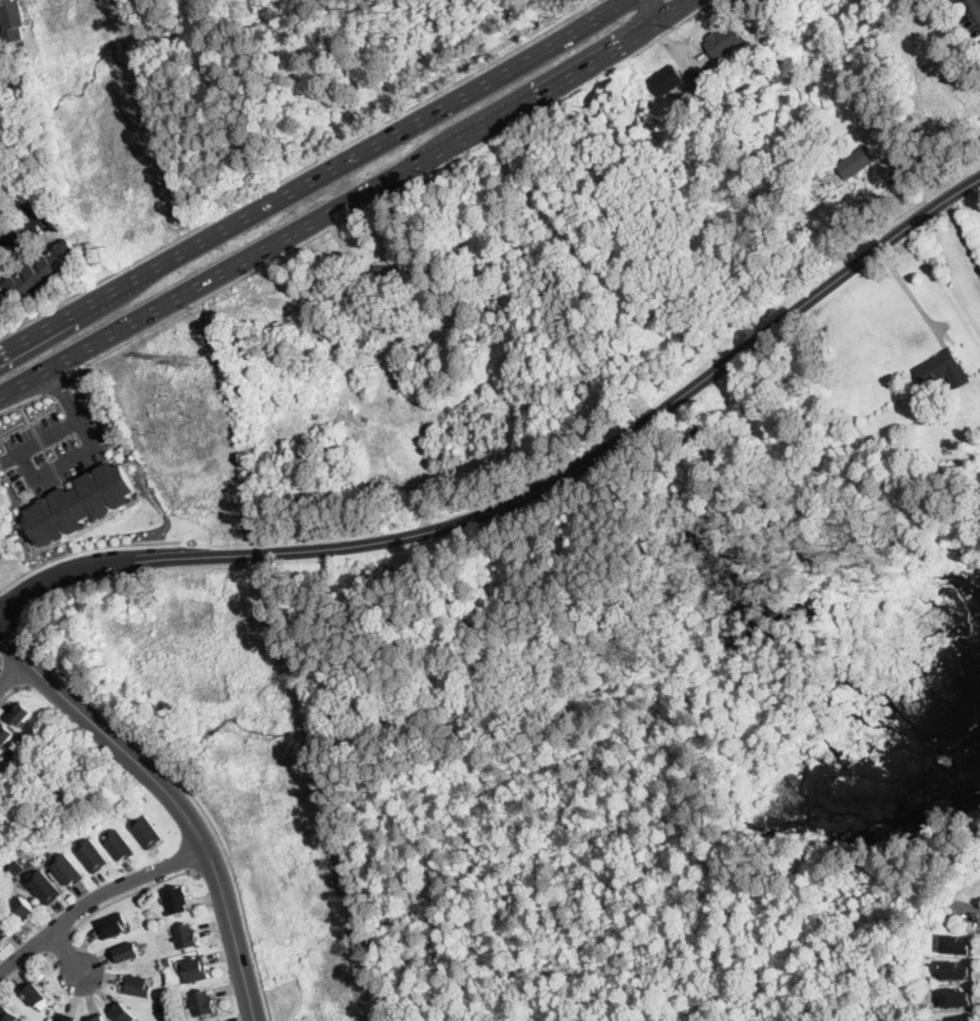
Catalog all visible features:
road: (976, 5)
road: (658, 9)
parking lot: (969, 15)
building: (13, 20)
building: (724, 41)
building: (667, 80)
building: (3, 83)
building: (856, 100)
building: (855, 162)
road: (297, 168)
road: (311, 177)
road: (391, 193)
road: (349, 202)
road: (19, 219)
parking lot: (21, 227)
road: (962, 238)
power tower: (104, 247)
building: (42, 270)
building: (388, 274)
road: (368, 284)
road: (911, 296)
building: (291, 318)
road: (74, 322)
building: (369, 327)
power tower: (182, 359)
building: (944, 370)
road: (56, 386)
road: (62, 395)
road: (22, 402)
road: (25, 414)
power tower: (150, 431)
road: (91, 448)
parking lot: (55, 449)
road: (529, 496)
building: (80, 503)
road: (86, 550)
road: (9, 611)
road: (1, 663)
road: (10, 675)
road: (13, 675)
road: (10, 695)
building: (22, 715)
building: (5, 736)
road: (190, 792)
road: (173, 797)
building: (148, 831)
building: (120, 845)
building: (94, 856)
road: (212, 865)
building: (21, 866)
building: (69, 870)
building: (46, 886)
road: (130, 894)
road: (95, 897)
building: (177, 900)
building: (26, 907)
road: (961, 912)
building: (113, 925)
building: (6, 926)
building: (186, 936)
road: (61, 944)
building: (955, 945)
road: (67, 952)
building: (127, 952)
building: (168, 962)
road: (25, 967)
building: (195, 970)
building: (956, 971)
building: (137, 986)
building: (34, 994)
building: (956, 998)
building: (203, 1004)
building: (164, 1006)
building: (124, 1013)
building: (9, 1015)
building: (64, 1017)
building: (96, 1018)
building: (960, 1018)
building: (219, 1020)

